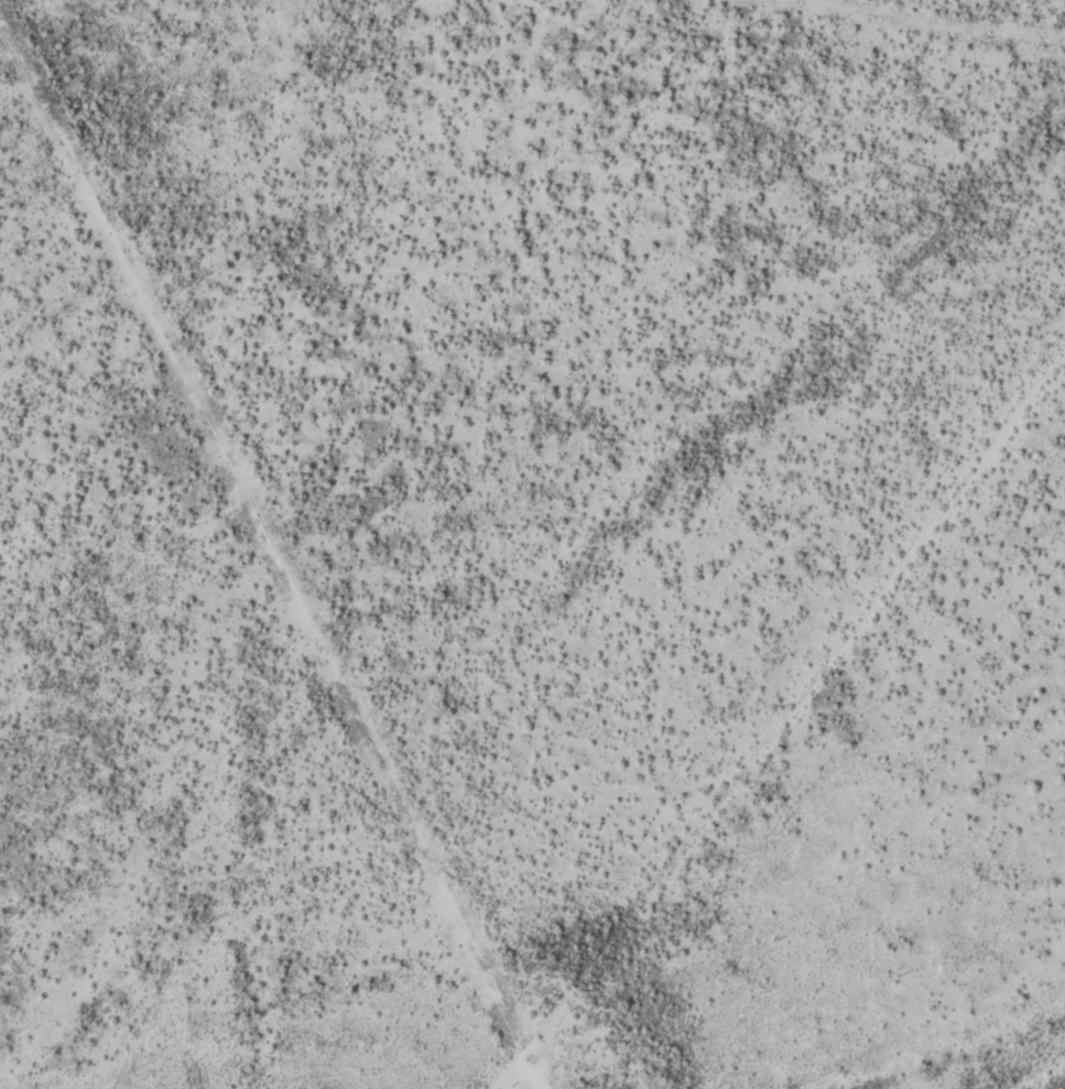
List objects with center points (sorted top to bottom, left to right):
road: (1047, 1081)

